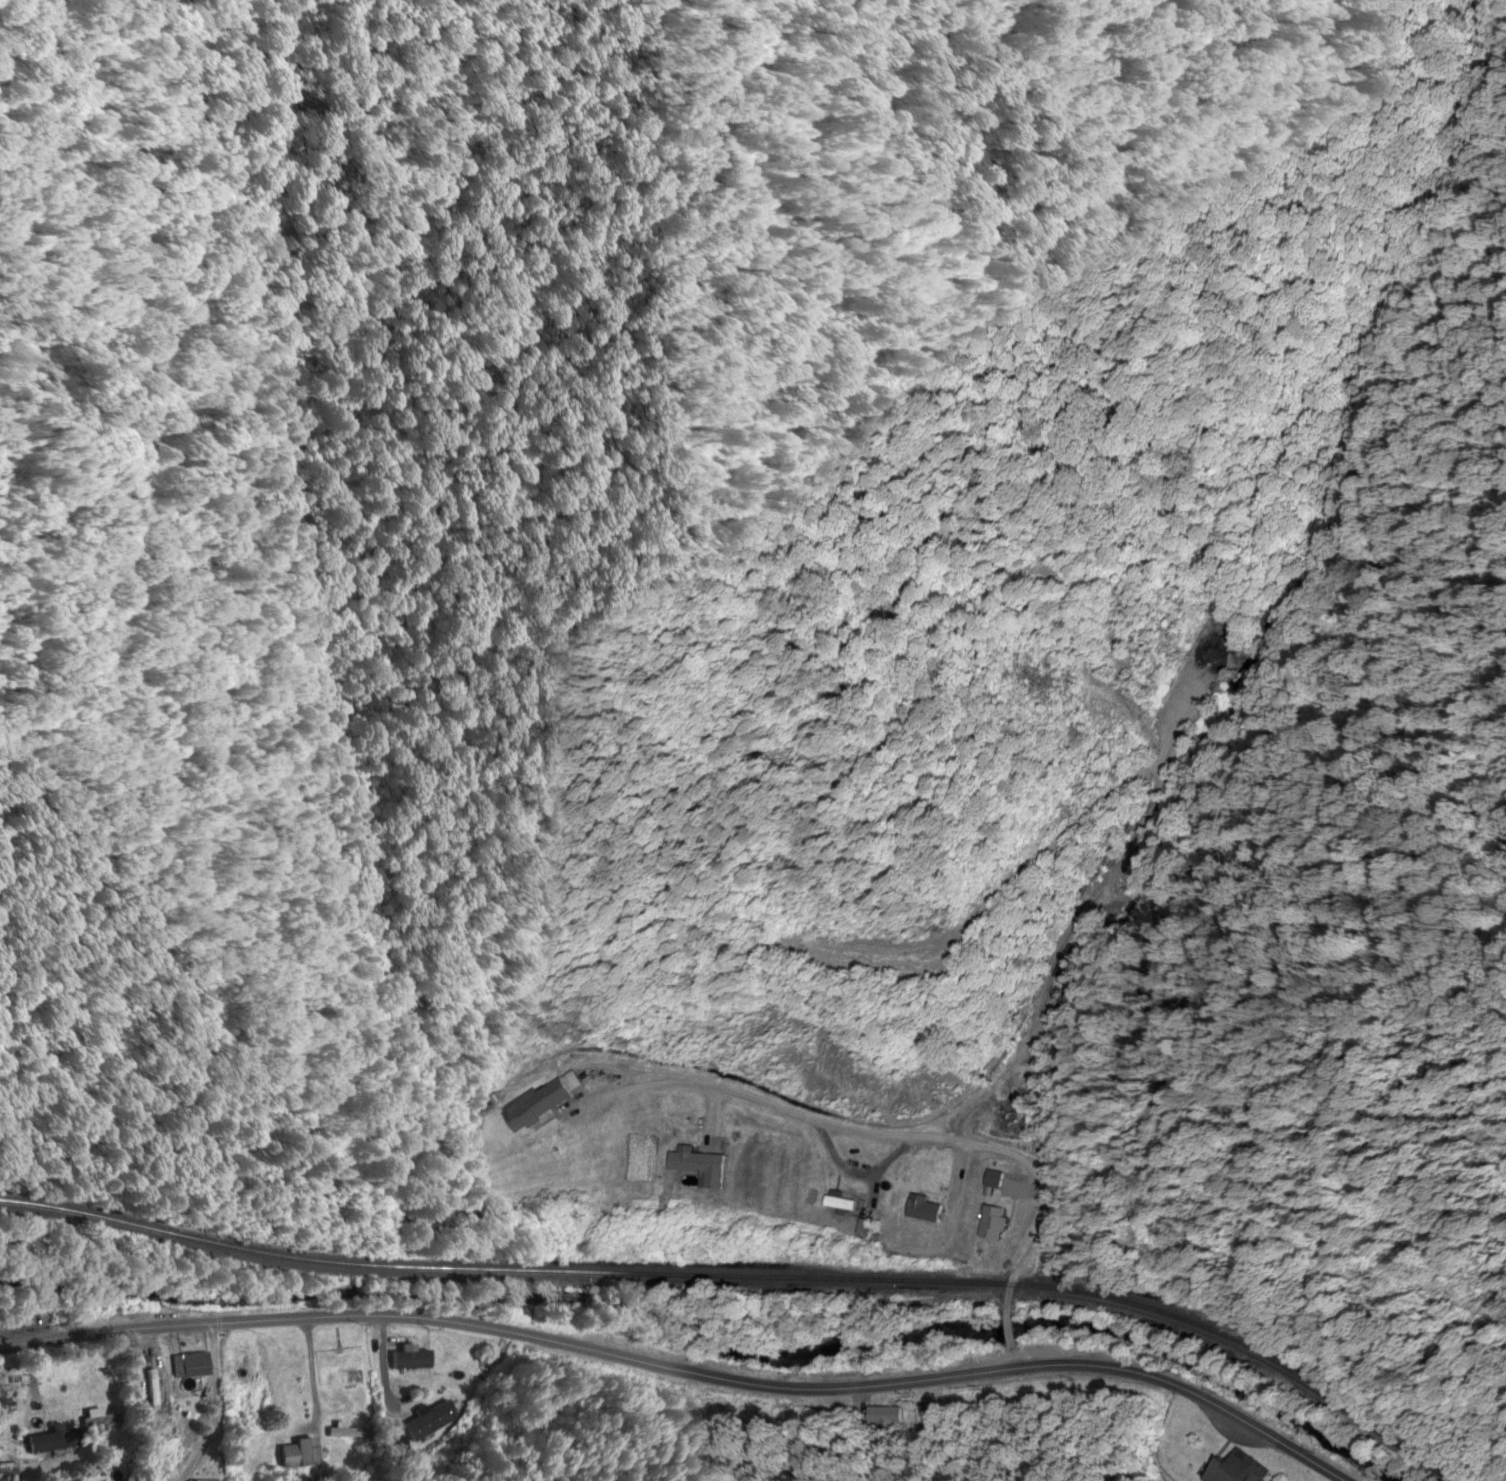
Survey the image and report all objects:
building: (540, 1101)
road: (907, 1137)
building: (836, 1202)
building: (990, 1224)
building: (860, 1229)
railway: (748, 1277)
road: (1006, 1333)
road: (386, 1356)
road: (1009, 1363)
building: (189, 1365)
road: (314, 1366)
road: (682, 1370)
road: (529, 1386)
road: (216, 1388)
building: (152, 1390)
building: (6, 1398)
building: (431, 1421)
building: (101, 1422)
road: (675, 1426)
building: (53, 1439)
building: (10, 1441)
building: (299, 1453)
building: (1234, 1469)
building: (201, 1480)

